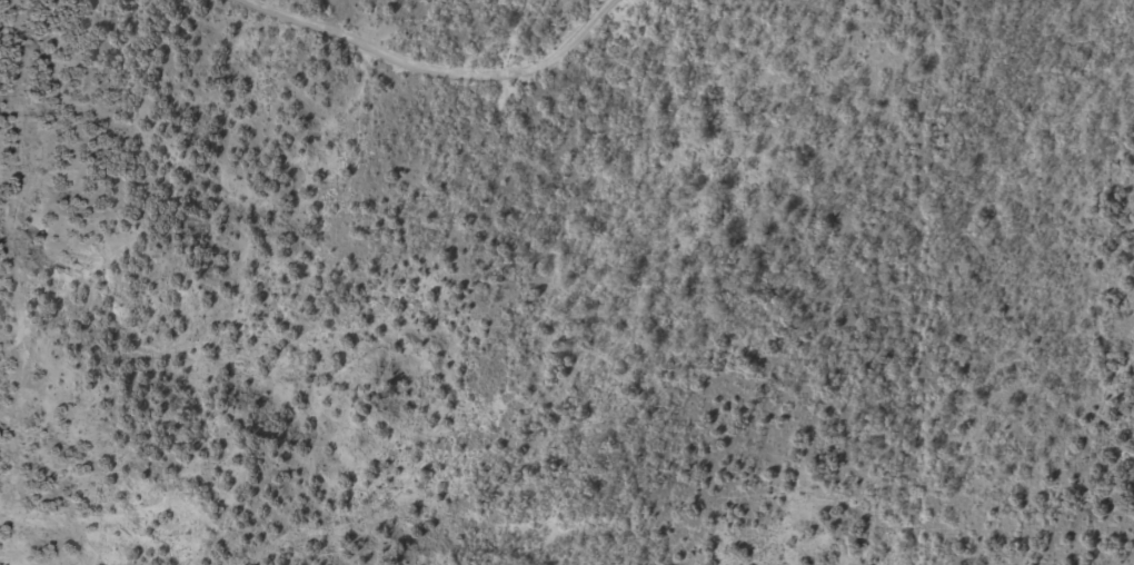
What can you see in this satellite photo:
road: (449, 92)

